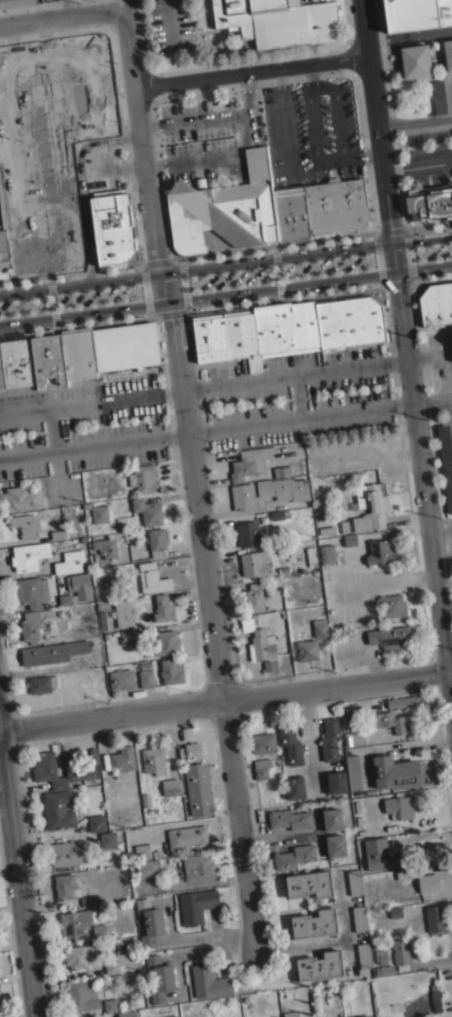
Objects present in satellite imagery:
building: (14, 2)
road: (119, 7)
building: (417, 13)
road: (58, 16)
building: (277, 21)
road: (168, 23)
parking lot: (166, 26)
road: (408, 35)
road: (79, 53)
building: (448, 53)
building: (416, 61)
road: (249, 69)
road: (307, 73)
road: (118, 93)
building: (438, 96)
parking lot: (442, 96)
road: (194, 119)
road: (280, 119)
road: (14, 121)
road: (414, 121)
parking lot: (260, 135)
parking lot: (15, 140)
road: (9, 151)
road: (235, 154)
road: (341, 156)
parking lot: (427, 160)
road: (116, 166)
building: (451, 168)
parking lot: (102, 170)
building: (53, 183)
road: (80, 184)
building: (431, 202)
building: (337, 205)
building: (224, 209)
building: (292, 214)
road: (428, 226)
building: (113, 228)
road: (389, 231)
road: (276, 246)
building: (4, 250)
road: (408, 253)
road: (377, 257)
road: (172, 262)
road: (153, 263)
road: (226, 264)
parking lot: (281, 270)
road: (276, 271)
road: (71, 275)
road: (432, 275)
road: (396, 280)
road: (184, 284)
road: (145, 287)
road: (226, 292)
road: (284, 295)
parking lot: (71, 298)
road: (52, 301)
building: (436, 305)
road: (168, 310)
building: (349, 320)
road: (74, 321)
building: (286, 328)
building: (209, 338)
building: (241, 338)
building: (125, 347)
road: (406, 348)
building: (79, 355)
building: (48, 359)
building: (17, 365)
building: (1, 381)
road: (204, 386)
parking lot: (297, 395)
road: (450, 409)
road: (226, 424)
parking lot: (82, 425)
building: (250, 462)
parking lot: (445, 462)
building: (442, 466)
building: (282, 471)
building: (143, 478)
road: (193, 480)
building: (283, 488)
building: (242, 496)
building: (21, 498)
building: (372, 510)
building: (148, 511)
building: (97, 512)
building: (279, 514)
building: (25, 525)
building: (57, 534)
building: (248, 534)
building: (350, 540)
building: (157, 541)
building: (106, 548)
building: (381, 552)
building: (327, 553)
building: (28, 555)
building: (311, 556)
building: (68, 562)
building: (254, 563)
building: (152, 578)
building: (80, 585)
road: (445, 589)
building: (31, 591)
building: (254, 597)
building: (65, 599)
building: (393, 605)
building: (163, 608)
building: (122, 613)
building: (102, 620)
building: (33, 624)
building: (319, 627)
building: (129, 636)
building: (389, 636)
building: (166, 642)
building: (260, 645)
building: (306, 650)
building: (52, 652)
building: (171, 670)
building: (145, 678)
building: (121, 679)
building: (41, 684)
road: (226, 701)
building: (401, 702)
building: (388, 721)
building: (330, 738)
building: (354, 738)
building: (263, 743)
building: (290, 744)
building: (190, 751)
building: (153, 760)
building: (118, 766)
building: (82, 768)
building: (261, 768)
building: (353, 772)
building: (400, 773)
building: (336, 782)
building: (171, 787)
building: (295, 787)
building: (131, 789)
building: (198, 789)
building: (146, 800)
building: (398, 806)
building: (58, 809)
building: (289, 819)
building: (332, 819)
road: (192, 821)
building: (96, 823)
building: (187, 836)
building: (108, 840)
building: (335, 845)
building: (142, 851)
building: (67, 853)
building: (377, 853)
building: (294, 856)
building: (147, 867)
building: (198, 867)
building: (404, 874)
road: (19, 877)
building: (354, 882)
building: (429, 882)
building: (308, 884)
building: (66, 886)
building: (91, 900)
building: (196, 905)
building: (395, 911)
building: (359, 918)
building: (435, 919)
building: (76, 921)
building: (150, 921)
building: (313, 924)
building: (100, 931)
road: (201, 933)
road: (331, 939)
road: (199, 950)
building: (401, 953)
building: (78, 955)
building: (364, 955)
building: (381, 956)
building: (112, 966)
building: (319, 966)
building: (384, 970)
building: (160, 977)
building: (209, 981)
building: (82, 995)
building: (0, 996)
building: (435, 1001)
building: (111, 1005)
building: (127, 1013)
building: (291, 1013)
building: (332, 1013)
road: (31, 1016)
building: (170, 1016)
building: (363, 1016)

